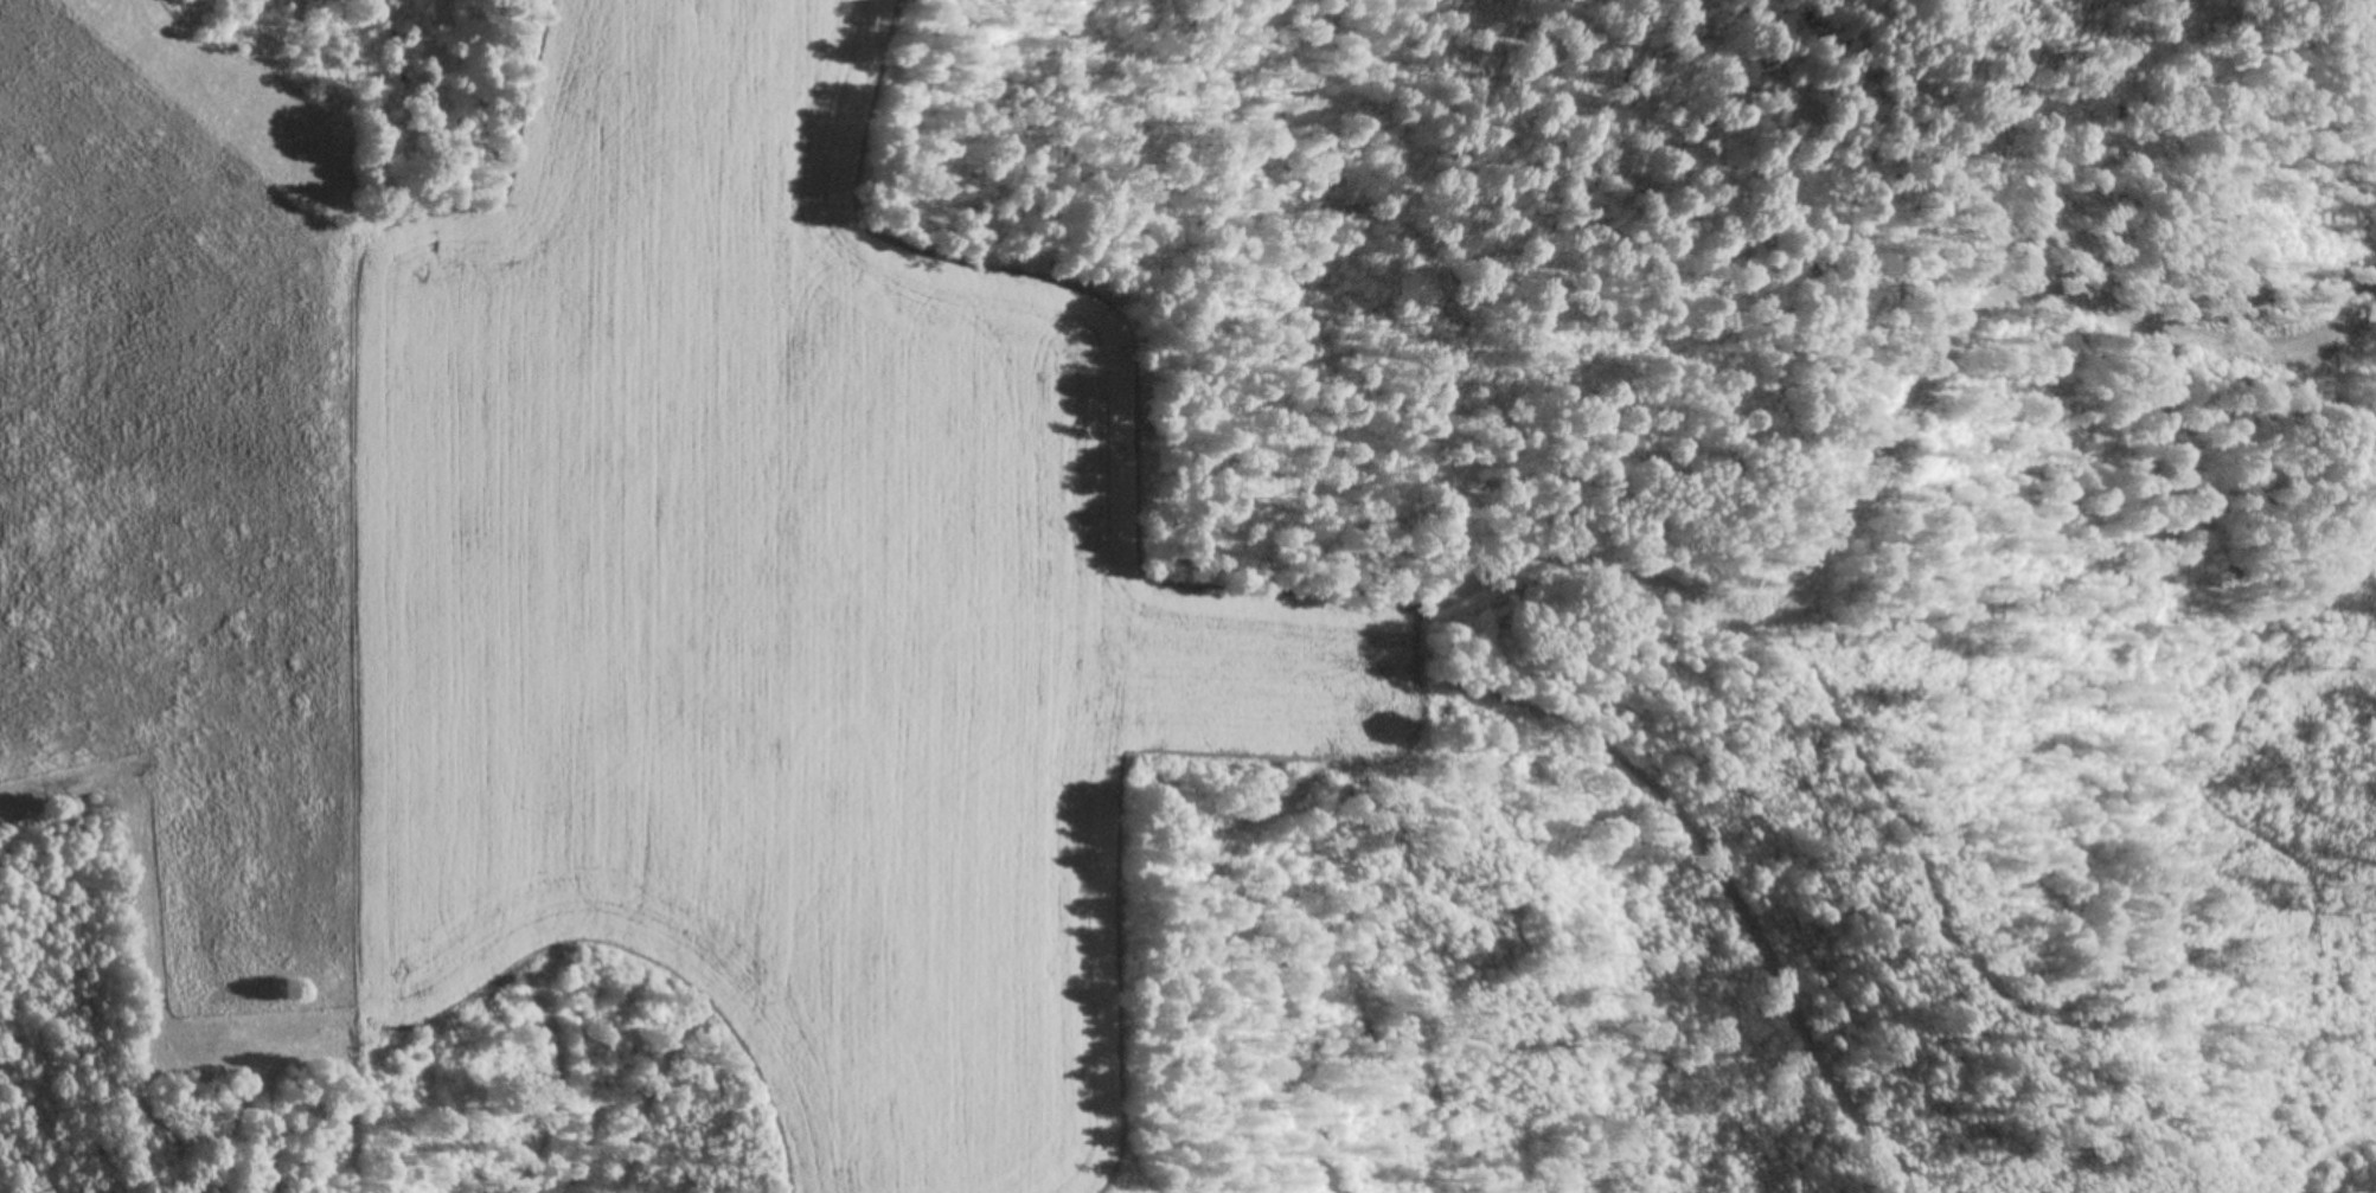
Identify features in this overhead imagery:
crop: (784, 610)

